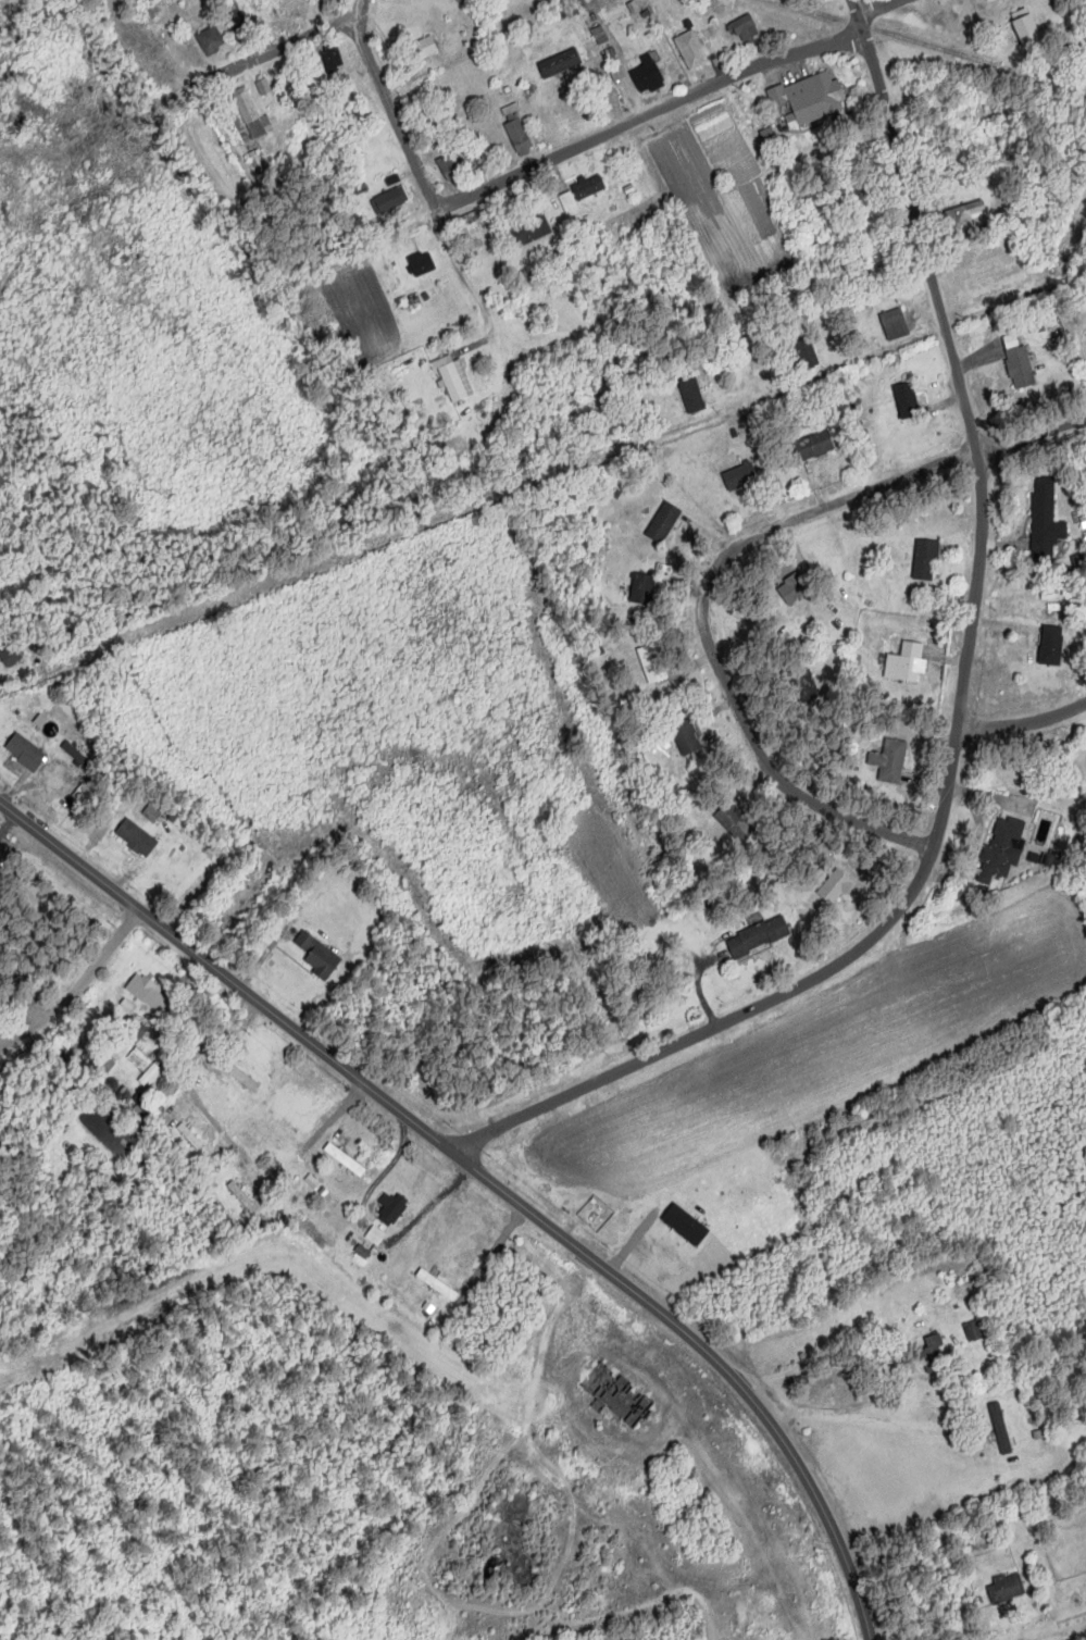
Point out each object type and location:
road: (878, 8)
building: (241, 22)
building: (747, 27)
building: (1029, 30)
building: (212, 40)
road: (290, 44)
railway: (929, 45)
building: (426, 47)
building: (692, 49)
building: (561, 62)
building: (649, 74)
building: (265, 87)
building: (816, 98)
road: (390, 102)
building: (250, 113)
road: (649, 114)
building: (520, 136)
building: (451, 167)
building: (590, 186)
building: (391, 199)
building: (570, 202)
building: (965, 214)
building: (473, 229)
building: (532, 229)
building: (423, 263)
building: (896, 324)
building: (806, 353)
building: (1021, 368)
building: (455, 378)
building: (692, 395)
building: (908, 401)
road: (1033, 439)
building: (816, 446)
building: (741, 477)
road: (982, 480)
building: (1047, 519)
building: (664, 522)
building: (927, 560)
building: (644, 588)
building: (794, 588)
road: (704, 622)
building: (1052, 645)
building: (911, 661)
building: (653, 663)
road: (1023, 721)
building: (687, 738)
building: (26, 753)
building: (890, 761)
building: (152, 813)
building: (736, 824)
building: (137, 837)
building: (1007, 846)
building: (1054, 860)
building: (836, 887)
building: (760, 936)
building: (319, 955)
road: (228, 979)
road: (80, 990)
building: (149, 994)
building: (136, 1032)
road: (660, 1052)
building: (143, 1065)
building: (240, 1076)
building: (292, 1119)
building: (190, 1136)
building: (346, 1159)
building: (242, 1198)
building: (376, 1237)
building: (438, 1285)
building: (978, 1331)
building: (935, 1355)
road: (714, 1359)
building: (616, 1395)
building: (1002, 1429)
building: (1008, 1589)
road: (1063, 1630)

